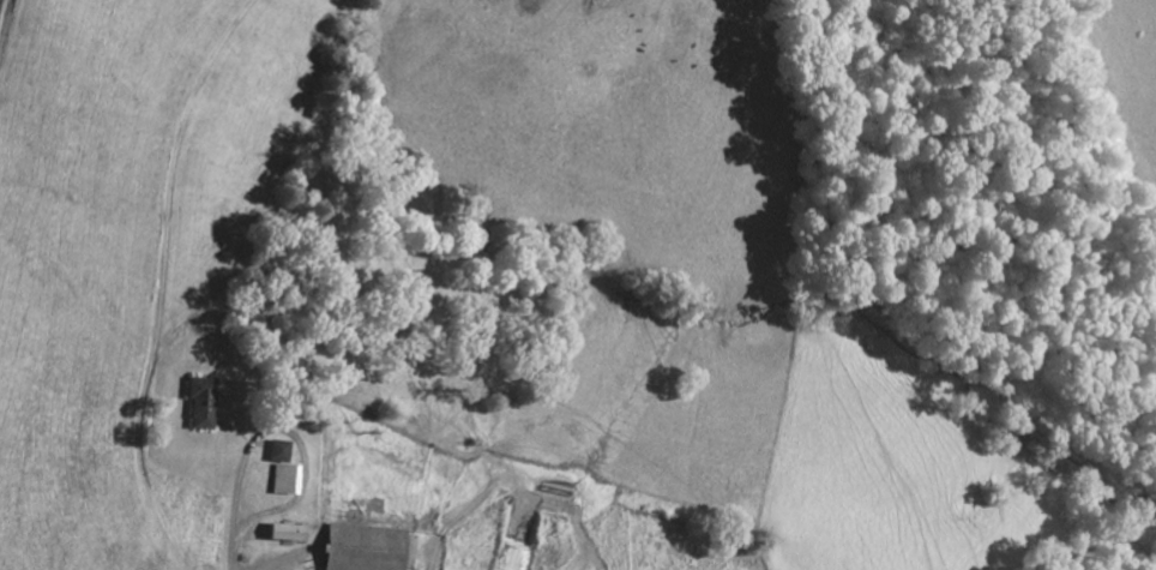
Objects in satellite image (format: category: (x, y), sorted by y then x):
building: (201, 404)
building: (278, 454)
building: (284, 481)
building: (288, 534)
building: (363, 548)

